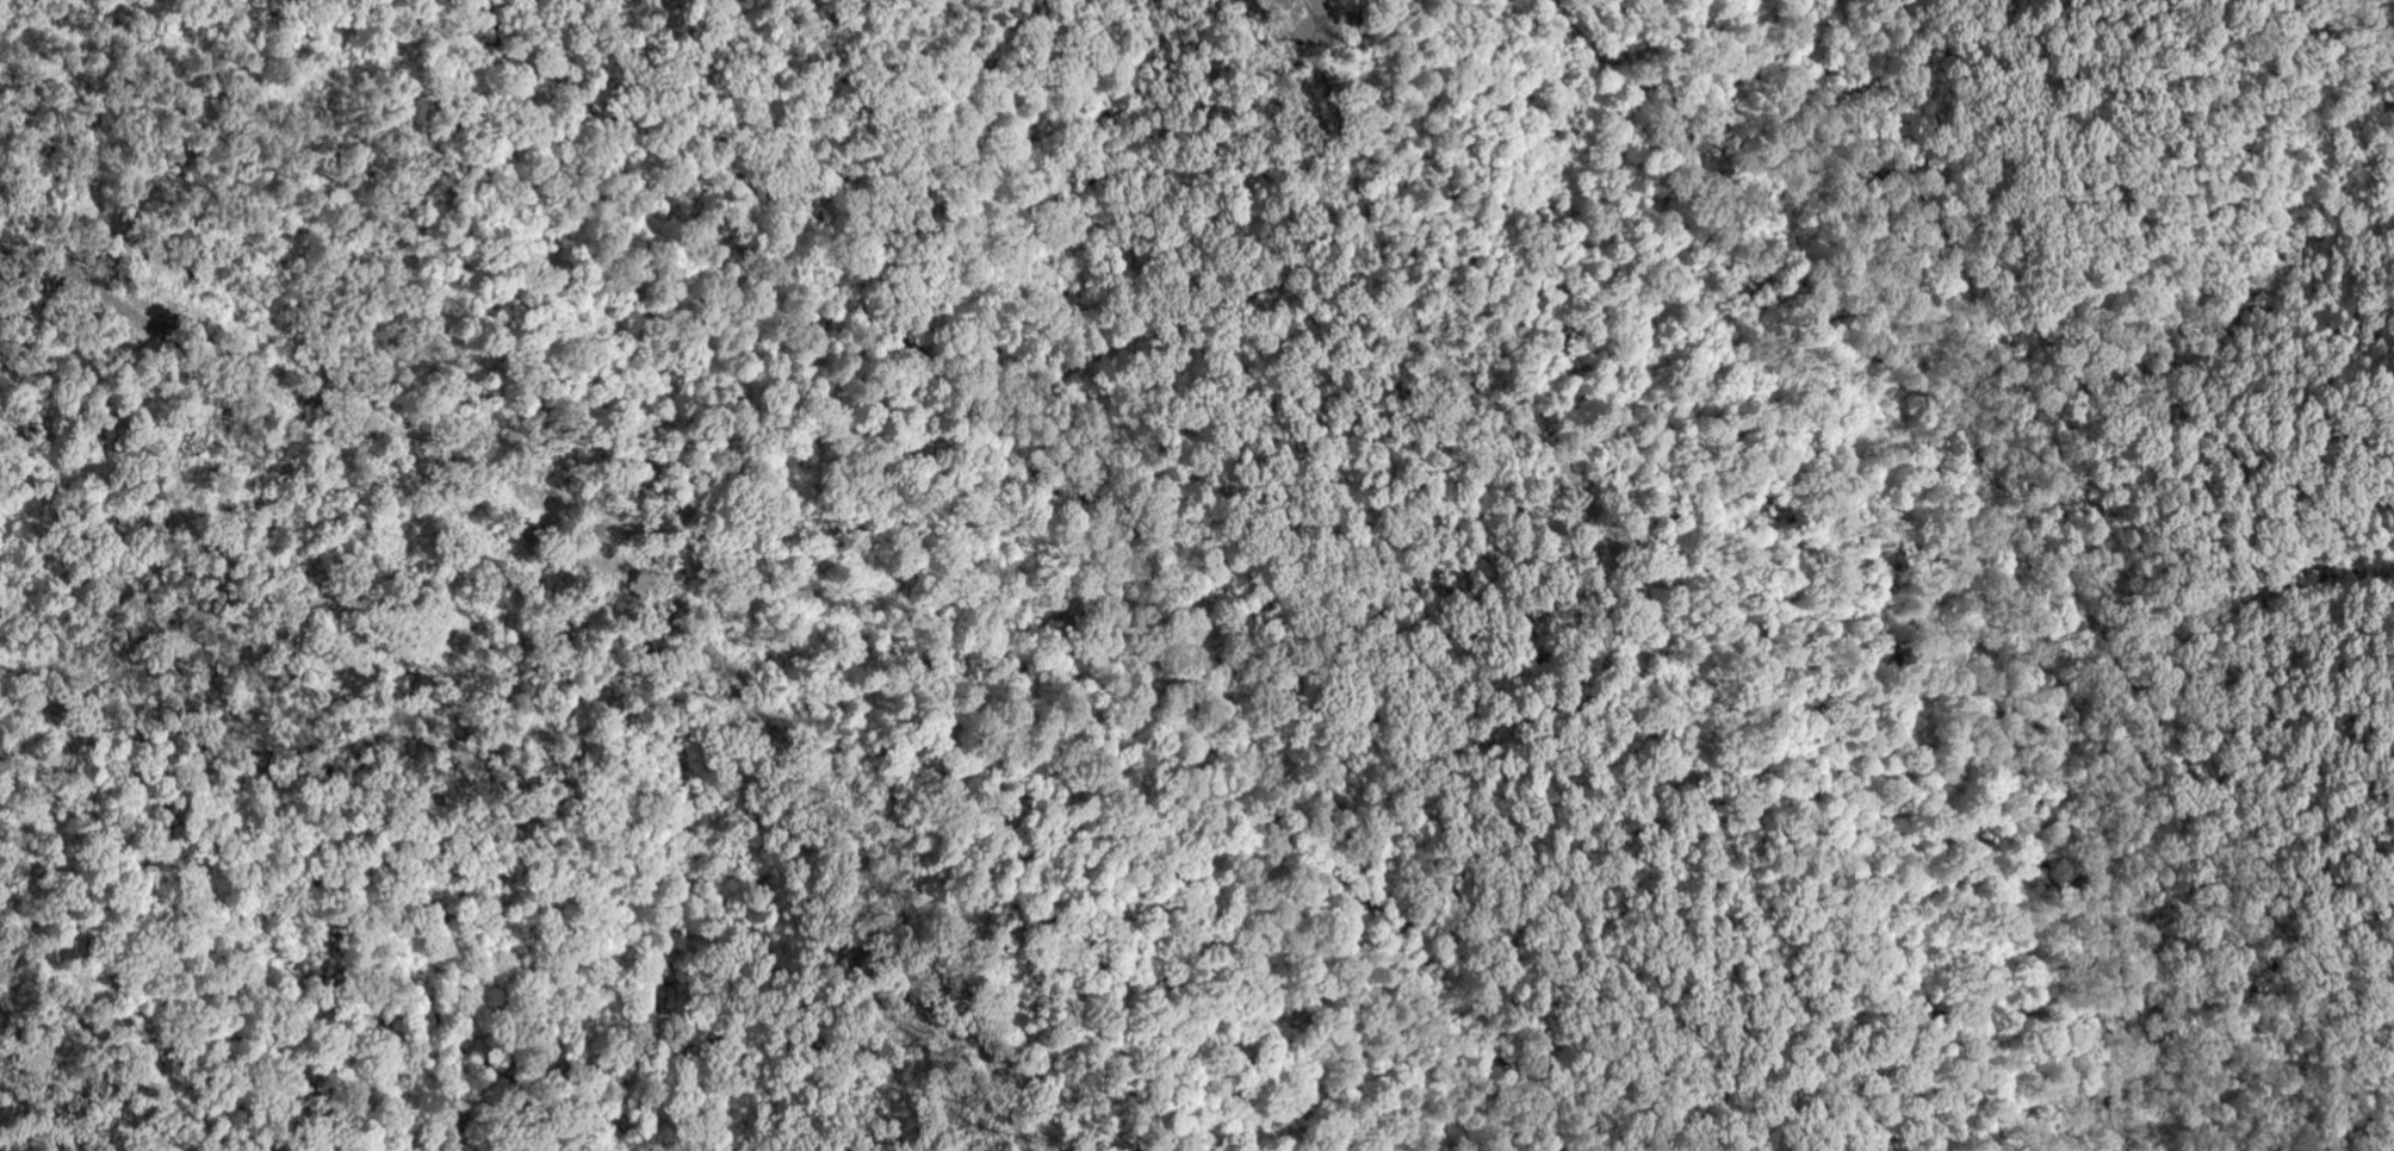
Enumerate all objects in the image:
road: (1258, 32)

